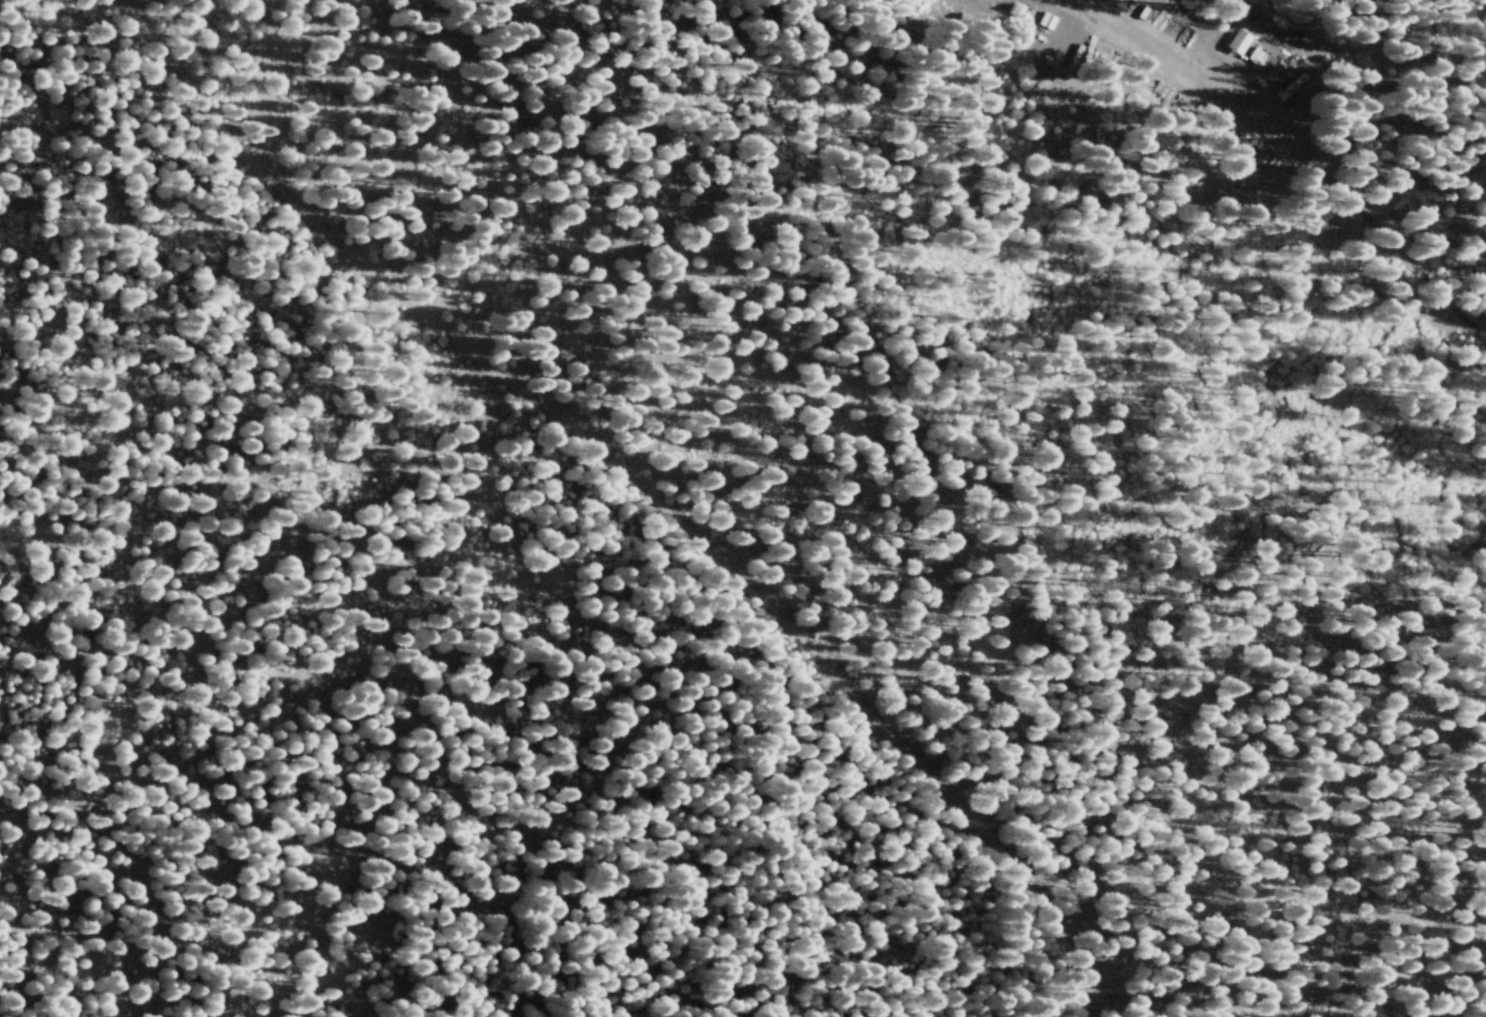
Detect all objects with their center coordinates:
building: (1236, 40)

